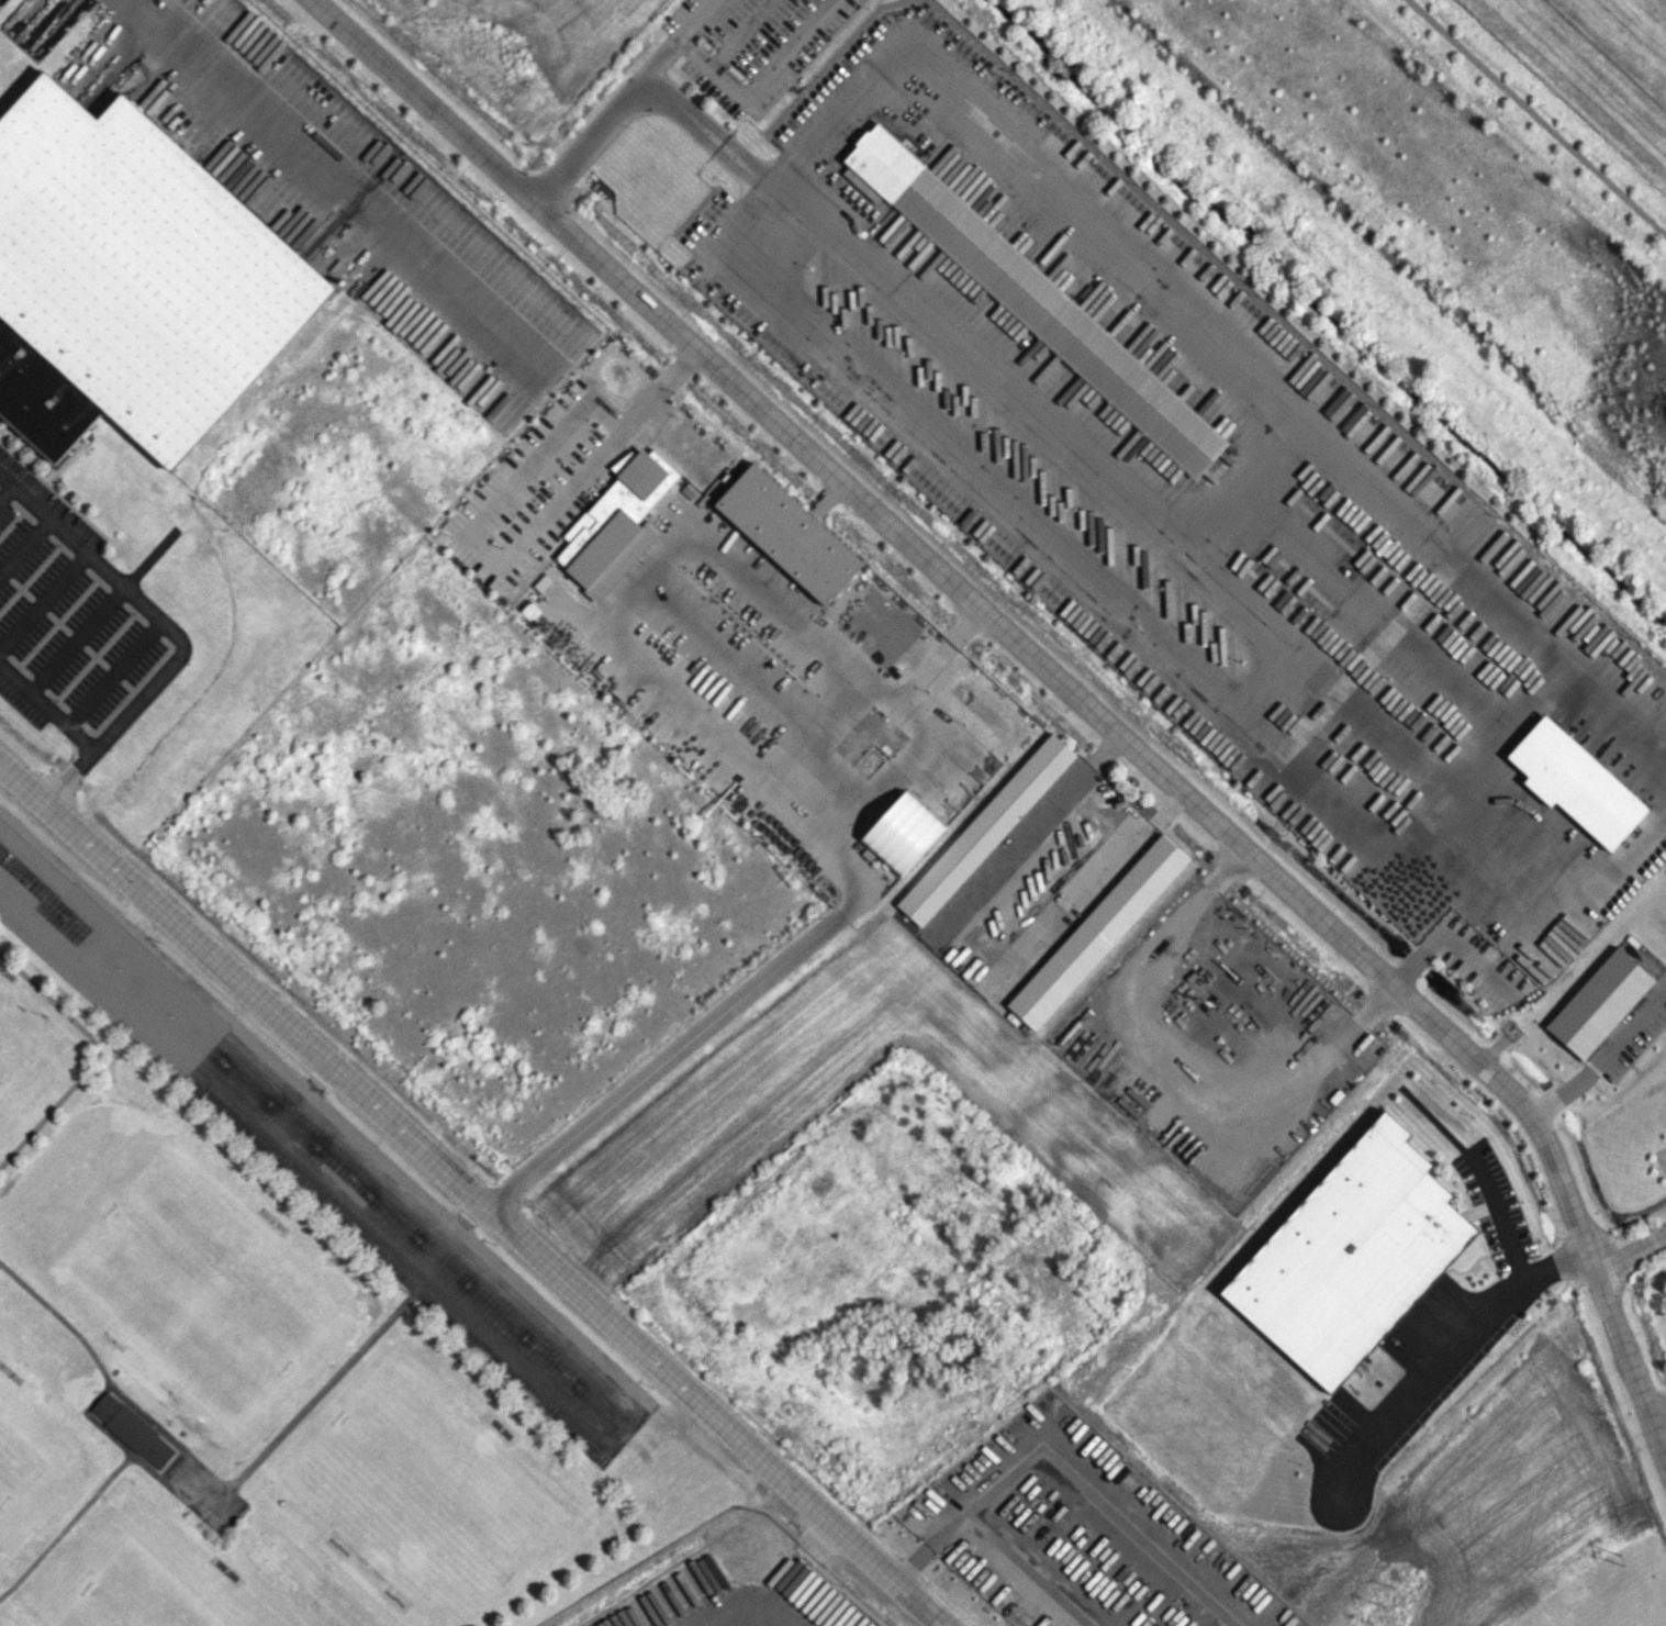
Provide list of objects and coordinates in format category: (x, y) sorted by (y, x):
road: (696, 20)
road: (762, 80)
road: (671, 98)
road: (701, 120)
road: (1534, 120)
road: (606, 121)
road: (695, 125)
road: (741, 151)
road: (756, 174)
building: (130, 279)
building: (1041, 308)
road: (1220, 353)
road: (924, 447)
building: (622, 461)
road: (5, 490)
building: (615, 524)
building: (787, 533)
road: (24, 547)
road: (506, 557)
road: (43, 600)
road: (169, 630)
road: (76, 641)
road: (113, 675)
road: (1060, 681)
road: (46, 710)
building: (1575, 782)
building: (985, 828)
building: (902, 833)
road: (862, 895)
road: (1474, 913)
road: (116, 934)
building: (1599, 1003)
park: (22, 1045)
road: (1602, 1059)
road: (1165, 1091)
road: (297, 1098)
parking lot: (311, 1148)
road: (473, 1193)
road: (1497, 1216)
road: (447, 1236)
road: (1631, 1248)
building: (1351, 1255)
park: (202, 1302)
road: (1451, 1359)
road: (308, 1403)
road: (636, 1414)
building: (132, 1429)
park: (20, 1460)
park: (416, 1499)
road: (1105, 1507)
road: (935, 1547)
power tower: (1619, 1559)
road: (1030, 1570)
park: (147, 1592)
power tower: (1384, 1605)
road: (747, 1610)

